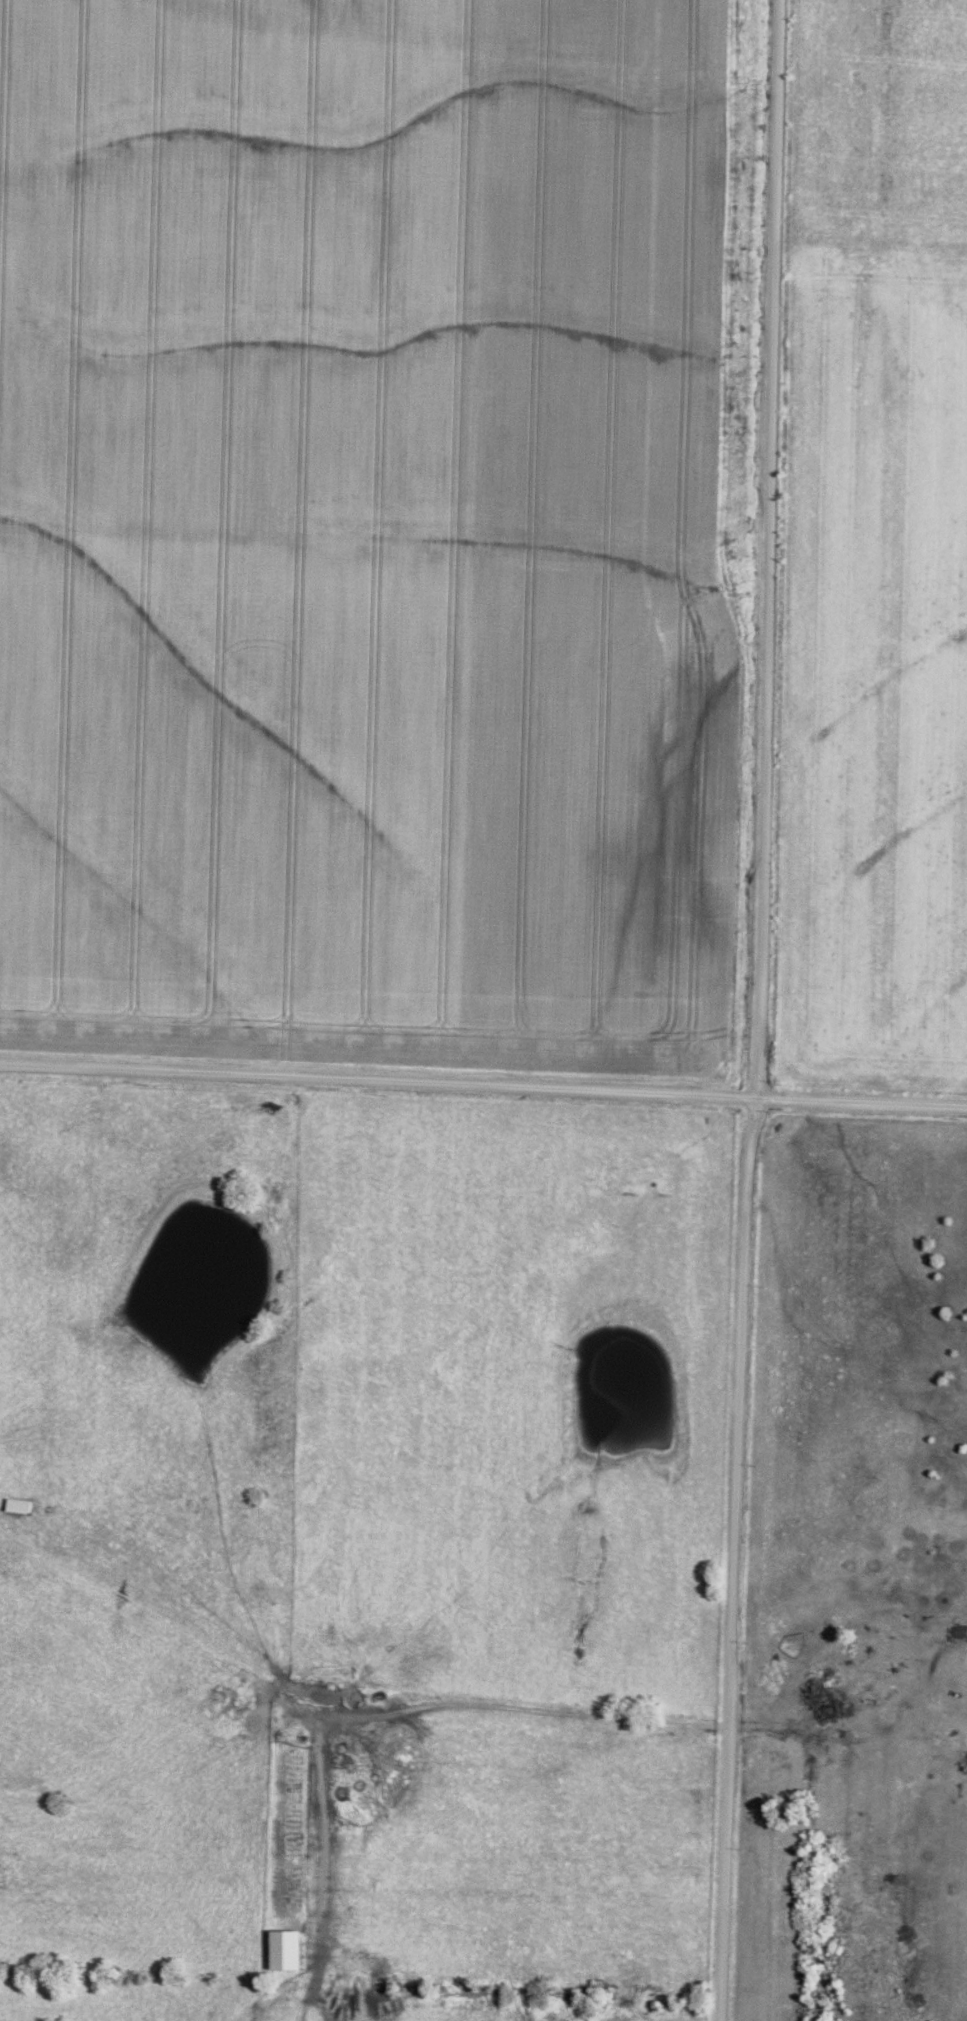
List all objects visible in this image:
road: (764, 1011)
road: (483, 1087)

